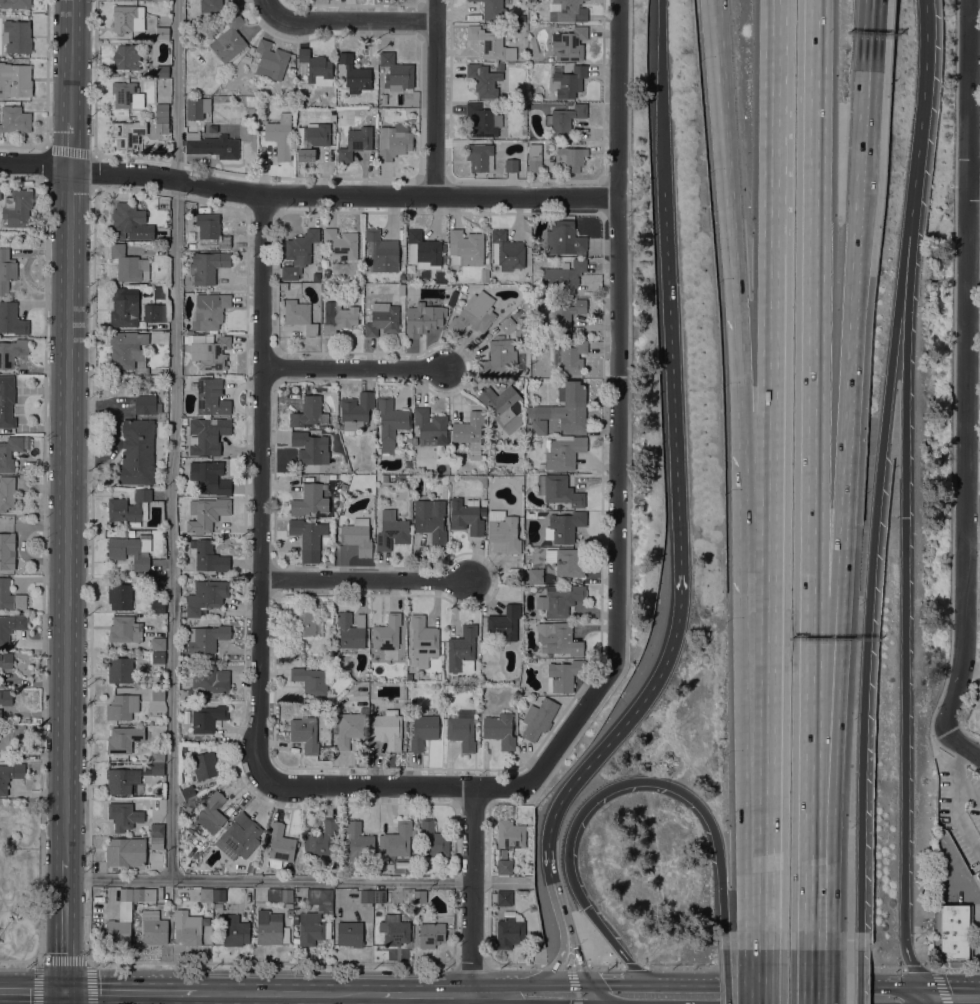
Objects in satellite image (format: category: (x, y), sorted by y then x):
building: (164, 0)
building: (15, 3)
building: (210, 5)
building: (493, 10)
building: (567, 11)
building: (127, 18)
road: (347, 19)
building: (162, 33)
building: (17, 37)
building: (229, 38)
building: (491, 43)
building: (569, 44)
road: (869, 50)
building: (126, 57)
building: (247, 58)
road: (70, 60)
building: (271, 60)
building: (519, 65)
building: (499, 66)
building: (316, 67)
building: (161, 71)
building: (355, 72)
building: (396, 72)
building: (16, 79)
building: (484, 80)
building: (567, 81)
building: (123, 93)
road: (663, 95)
road: (437, 98)
building: (384, 99)
building: (195, 107)
building: (162, 109)
building: (372, 110)
road: (918, 118)
building: (14, 119)
building: (483, 120)
building: (564, 120)
building: (162, 122)
road: (774, 131)
building: (127, 133)
building: (280, 136)
building: (311, 138)
building: (394, 140)
building: (355, 141)
road: (69, 144)
building: (212, 145)
road: (729, 150)
building: (478, 156)
building: (534, 158)
building: (570, 158)
road: (864, 160)
road: (34, 164)
building: (511, 165)
road: (973, 180)
road: (342, 196)
building: (17, 208)
building: (130, 222)
building: (213, 229)
building: (564, 238)
building: (341, 242)
building: (465, 248)
building: (423, 250)
building: (381, 251)
building: (508, 251)
building: (298, 253)
building: (129, 264)
building: (207, 266)
building: (6, 270)
building: (317, 271)
building: (485, 272)
building: (526, 274)
building: (401, 276)
building: (563, 277)
building: (283, 285)
road: (813, 298)
building: (125, 306)
building: (210, 310)
road: (905, 310)
building: (155, 312)
building: (474, 313)
building: (516, 313)
building: (501, 314)
building: (299, 315)
building: (561, 315)
building: (425, 316)
building: (12, 319)
building: (341, 319)
building: (382, 319)
building: (507, 324)
road: (965, 324)
road: (773, 338)
building: (128, 350)
building: (208, 350)
building: (12, 352)
road: (756, 357)
building: (498, 358)
building: (569, 358)
road: (352, 367)
building: (518, 384)
building: (211, 397)
building: (6, 401)
building: (145, 405)
building: (504, 407)
road: (836, 408)
building: (560, 409)
building: (308, 412)
building: (356, 412)
building: (390, 423)
building: (430, 425)
road: (616, 432)
building: (470, 433)
building: (207, 435)
road: (176, 440)
building: (310, 448)
building: (563, 451)
building: (9, 452)
building: (136, 452)
building: (541, 465)
building: (332, 476)
building: (209, 477)
building: (441, 480)
road: (262, 486)
building: (558, 490)
building: (7, 493)
building: (309, 500)
building: (129, 508)
road: (772, 509)
road: (67, 513)
building: (206, 513)
building: (466, 516)
building: (430, 519)
building: (565, 526)
building: (503, 532)
building: (131, 533)
building: (392, 533)
building: (357, 536)
building: (308, 537)
building: (131, 550)
building: (7, 551)
building: (208, 556)
building: (568, 561)
building: (535, 575)
road: (365, 581)
road: (684, 581)
building: (10, 596)
building: (120, 596)
building: (206, 596)
building: (560, 600)
building: (159, 606)
road: (868, 619)
building: (306, 624)
building: (505, 624)
building: (11, 626)
building: (125, 629)
building: (351, 631)
building: (387, 633)
building: (206, 638)
building: (558, 638)
building: (423, 640)
building: (158, 643)
building: (297, 650)
building: (462, 650)
building: (158, 657)
building: (6, 660)
building: (120, 669)
building: (389, 675)
building: (564, 675)
building: (208, 680)
building: (311, 680)
road: (904, 685)
building: (158, 694)
building: (6, 696)
building: (122, 707)
road: (948, 710)
building: (0, 715)
building: (207, 718)
building: (540, 720)
building: (348, 727)
building: (388, 729)
building: (462, 730)
building: (500, 730)
building: (423, 731)
building: (305, 733)
building: (10, 737)
building: (123, 738)
building: (157, 755)
building: (205, 765)
building: (157, 768)
road: (809, 773)
road: (956, 773)
building: (10, 774)
building: (122, 780)
road: (368, 784)
building: (188, 792)
road: (590, 803)
road: (769, 804)
building: (212, 813)
building: (124, 816)
building: (157, 829)
building: (510, 834)
building: (239, 836)
building: (323, 838)
building: (398, 840)
building: (433, 840)
building: (359, 842)
building: (156, 843)
building: (279, 846)
building: (126, 851)
building: (503, 853)
building: (504, 866)
building: (250, 867)
building: (978, 874)
road: (291, 880)
road: (473, 890)
building: (125, 893)
building: (144, 894)
building: (206, 894)
building: (218, 894)
building: (279, 895)
building: (419, 896)
building: (366, 897)
building: (502, 897)
building: (379, 899)
building: (288, 905)
building: (218, 906)
traffic signals: (586, 907)
building: (289, 912)
building: (379, 916)
building: (295, 917)
building: (316, 917)
road: (978, 923)
road: (64, 925)
building: (187, 928)
building: (270, 928)
building: (395, 929)
building: (235, 930)
building: (509, 930)
building: (117, 931)
building: (154, 931)
building: (350, 933)
building: (431, 934)
building: (956, 934)
building: (209, 941)
road: (567, 941)
road: (733, 946)
road: (578, 955)
road: (19, 960)
road: (63, 960)
road: (272, 962)
road: (514, 964)
road: (472, 965)
road: (556, 965)
road: (579, 965)
road: (606, 966)
road: (634, 967)
road: (955, 968)
road: (552, 969)
road: (933, 975)
road: (807, 977)
traffic signals: (590, 981)
road: (619, 981)
road: (683, 981)
road: (529, 982)
road: (574, 984)
traffic signals: (923, 984)
road: (924, 984)
road: (32, 991)
traffic signals: (65, 992)
road: (131, 992)
road: (598, 992)
road: (288, 993)
road: (426, 994)
road: (928, 994)
road: (64, 998)
road: (472, 999)
road: (487, 999)

